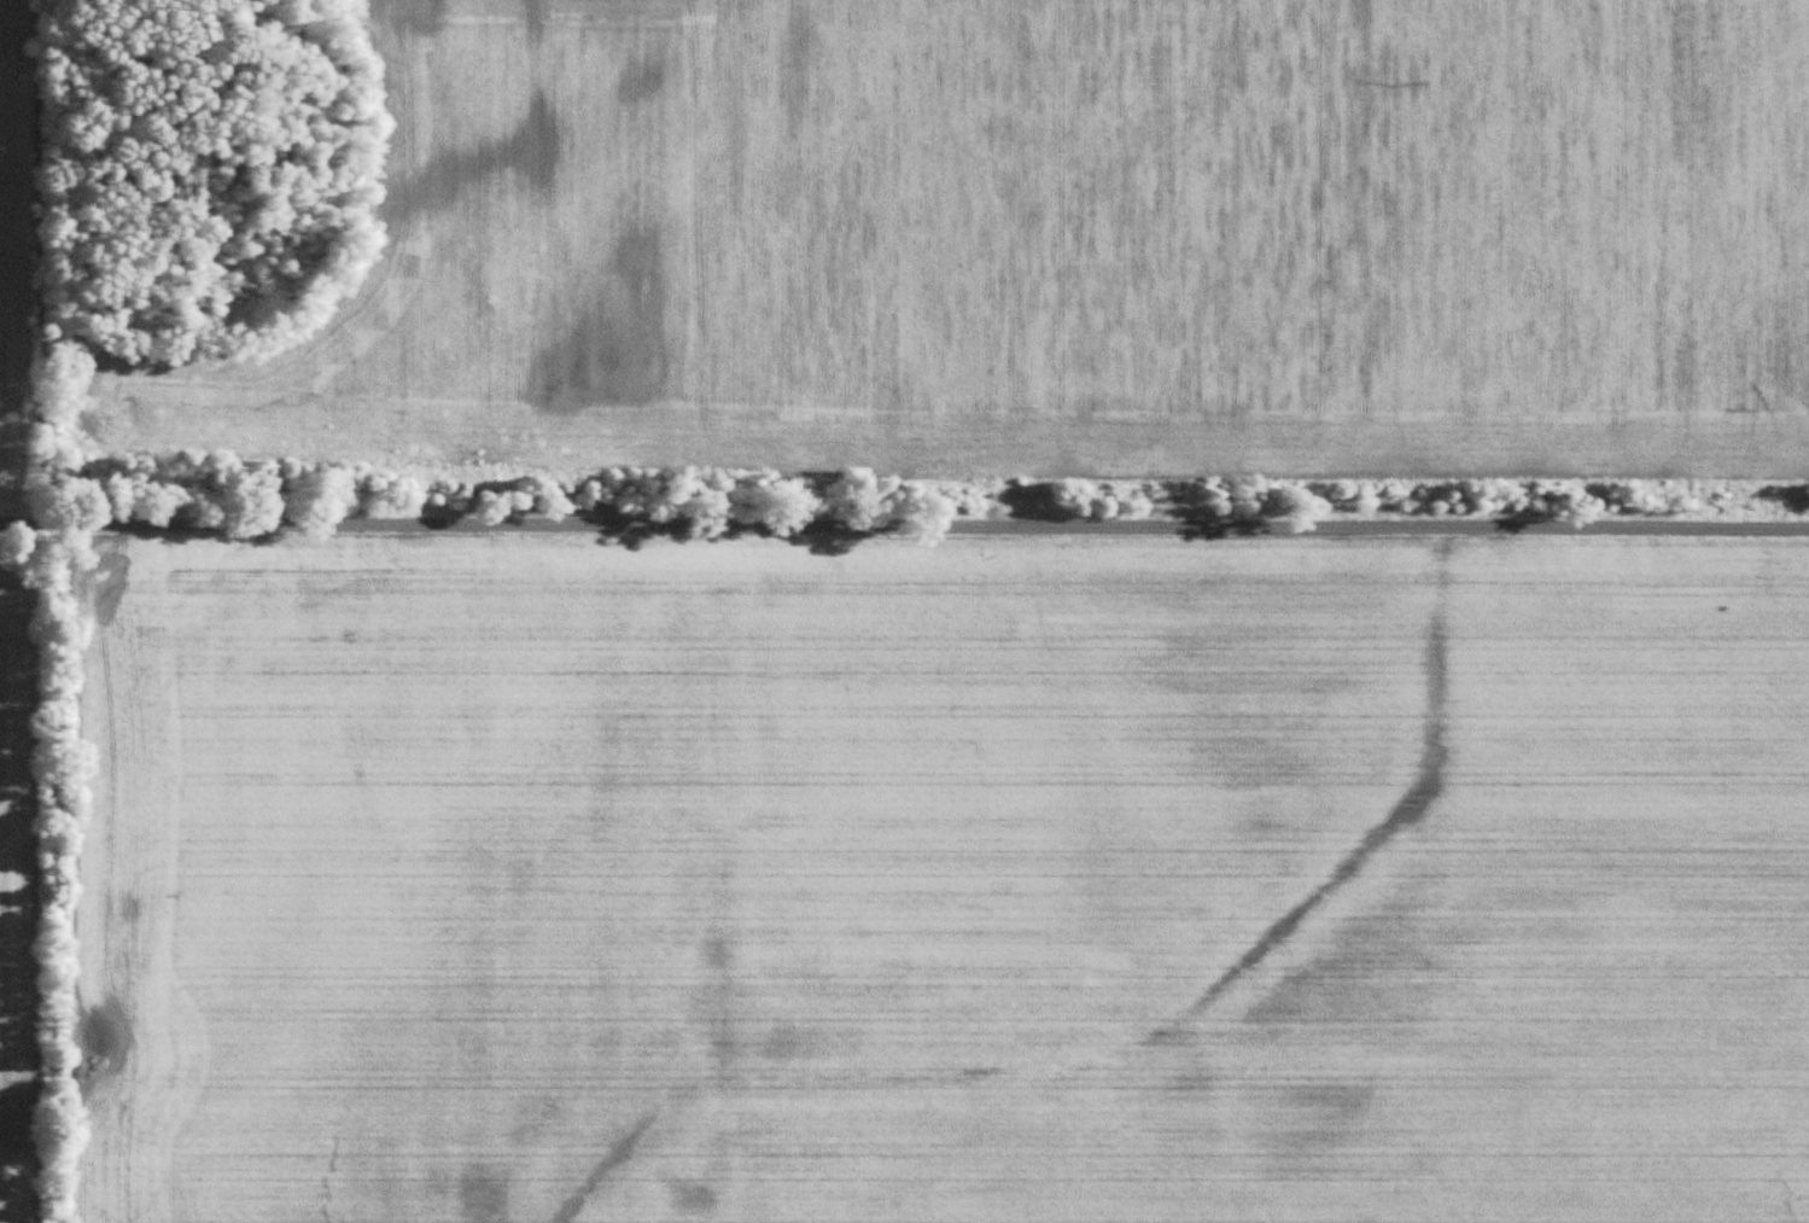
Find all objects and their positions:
road: (904, 529)

